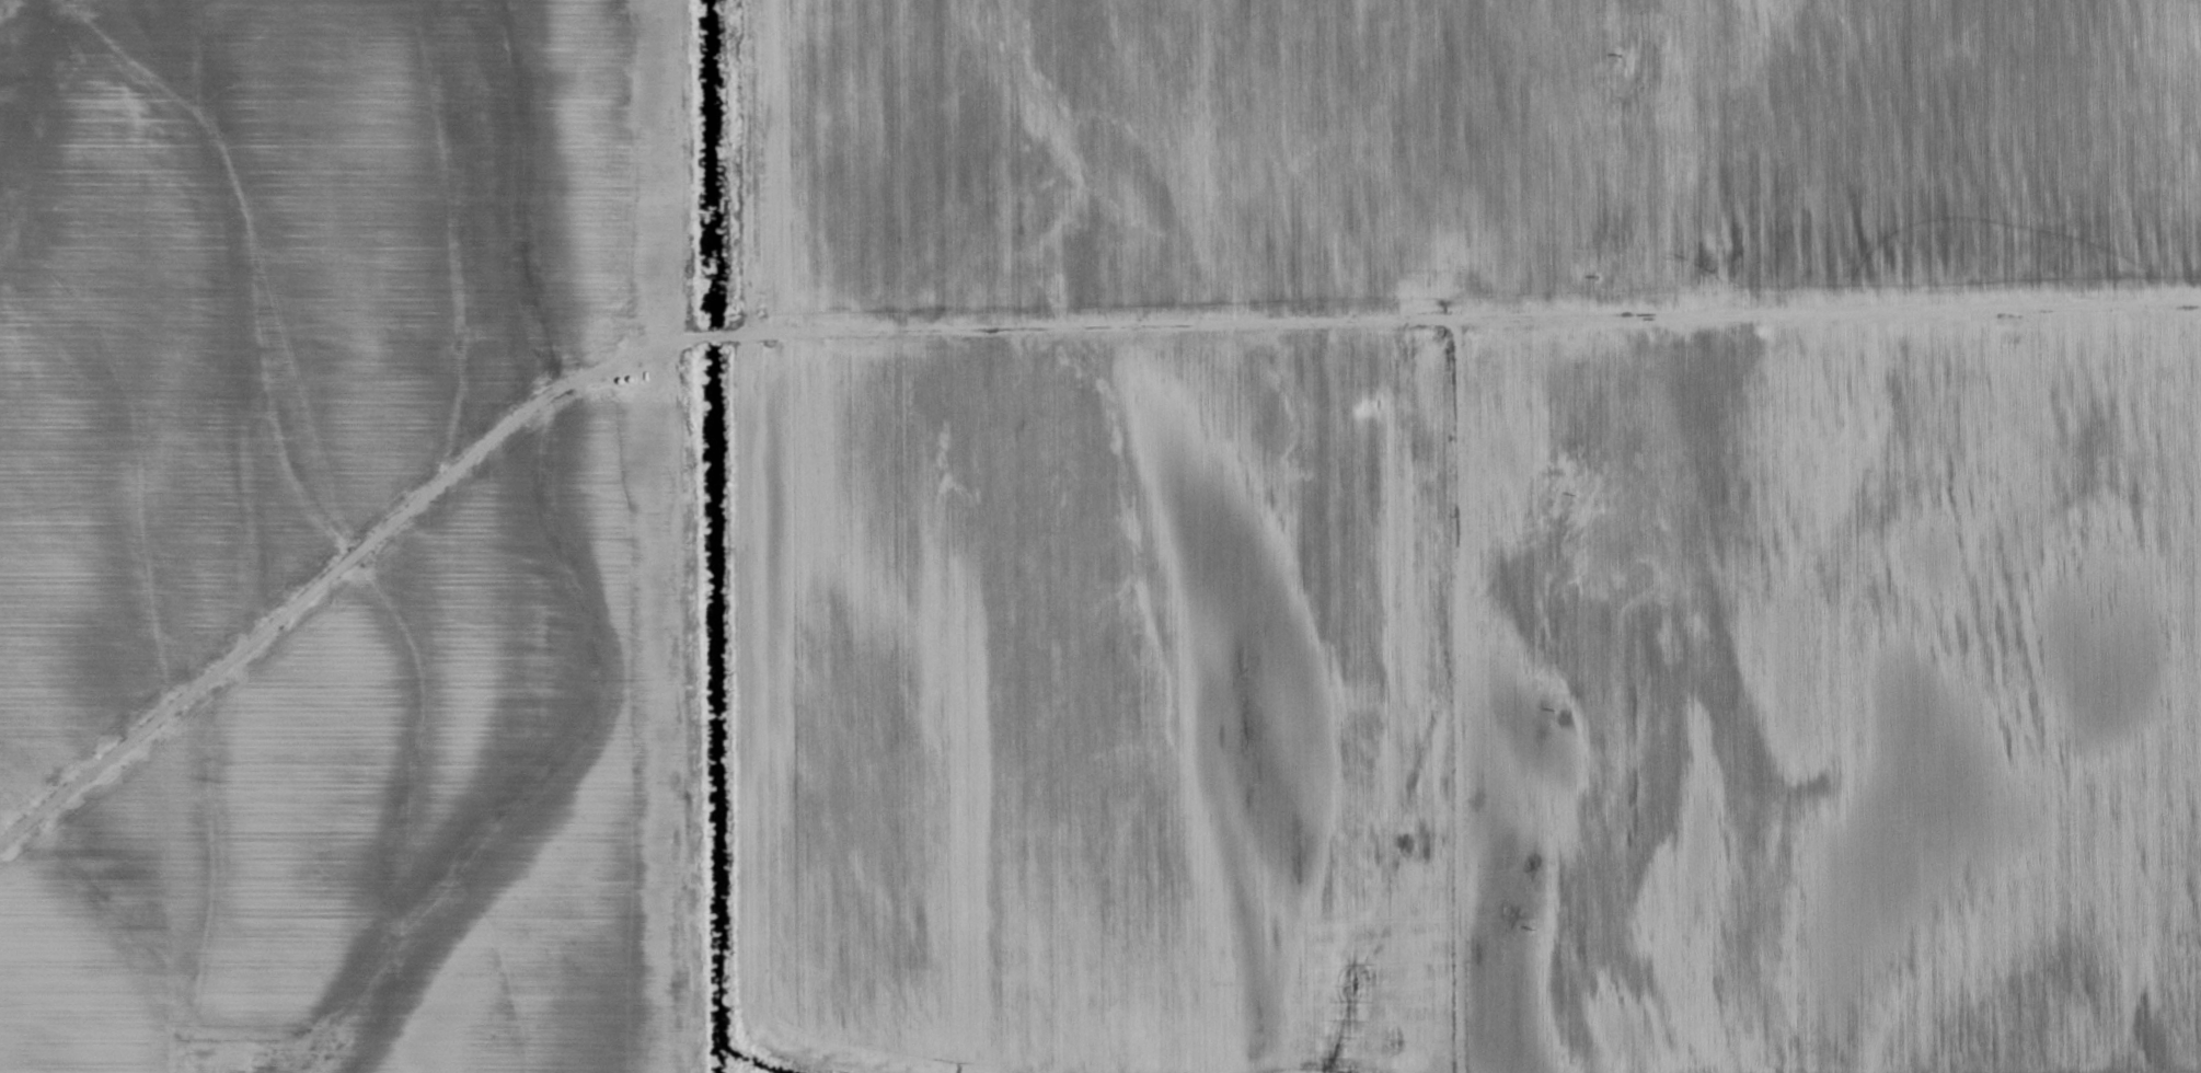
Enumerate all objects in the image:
road: (751, 166)
road: (1474, 323)
road: (354, 552)
road: (1456, 697)

